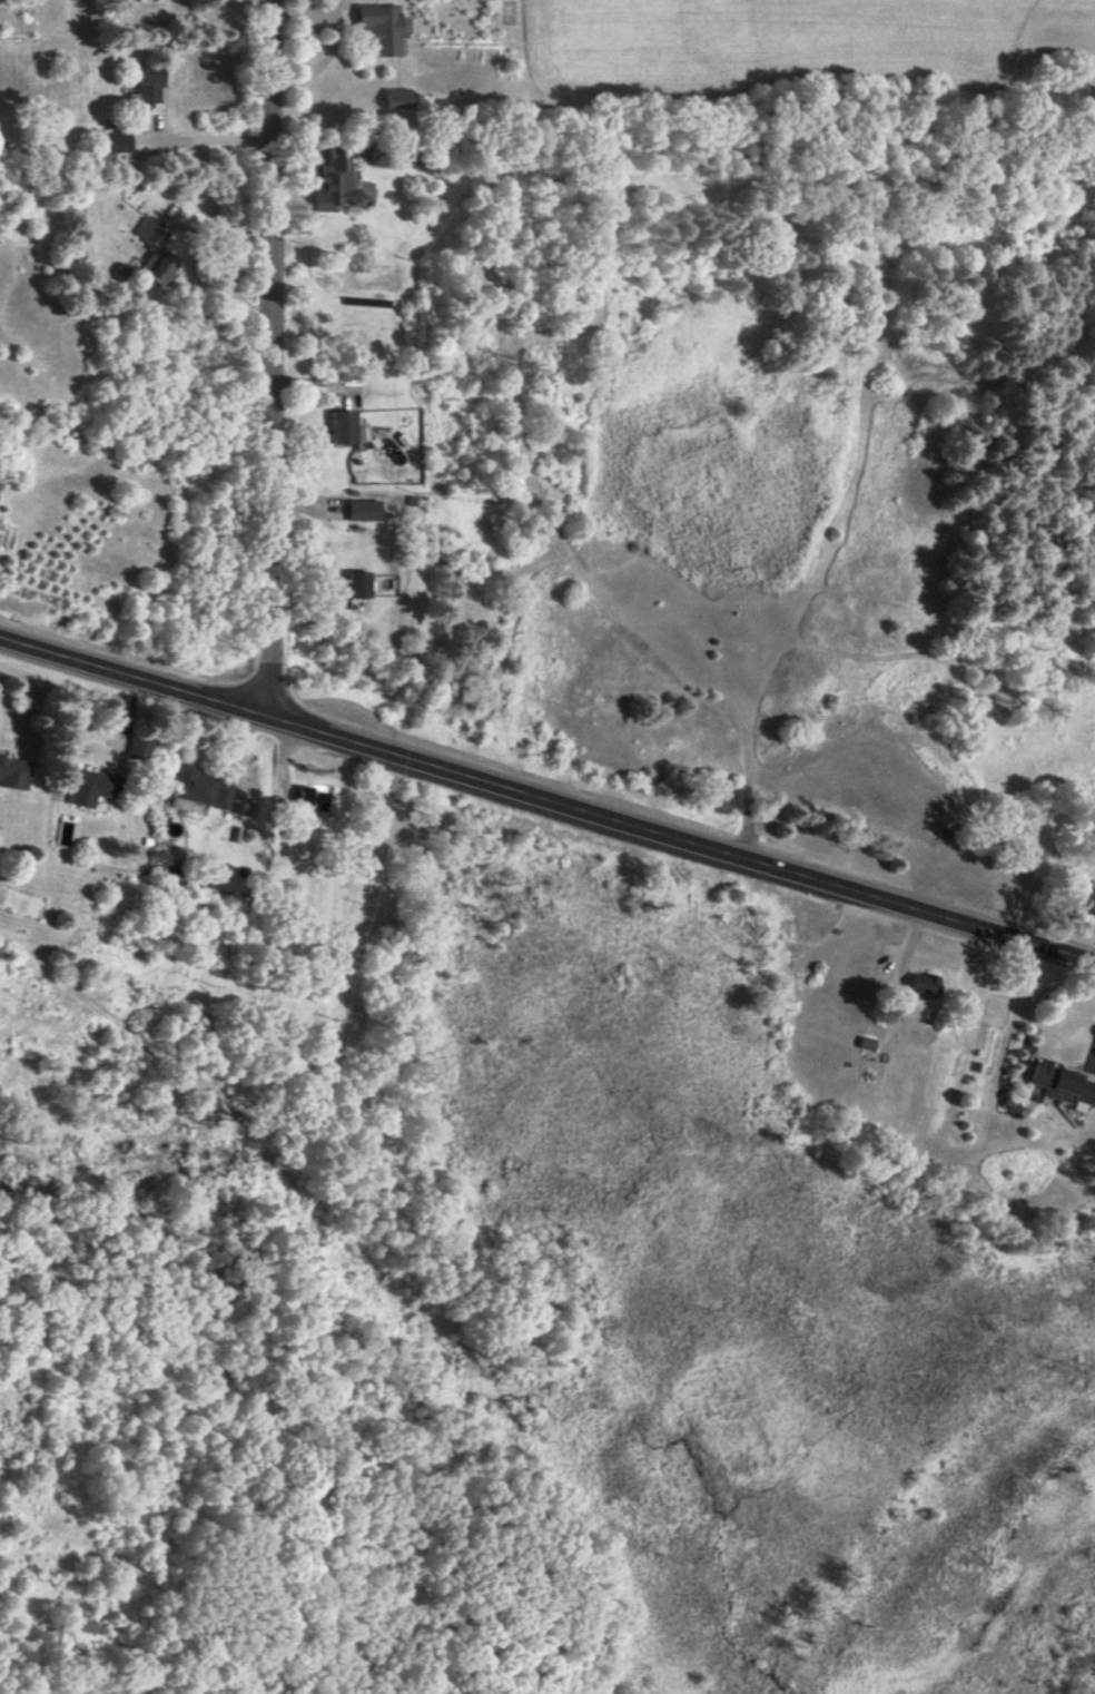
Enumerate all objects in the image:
building: (377, 28)
building: (148, 83)
building: (395, 98)
road: (209, 138)
building: (117, 141)
building: (389, 157)
building: (329, 176)
building: (152, 254)
road: (228, 267)
road: (274, 360)
building: (343, 429)
building: (363, 510)
building: (356, 584)
road: (137, 679)
building: (137, 748)
building: (12, 772)
building: (92, 787)
building: (199, 787)
building: (313, 798)
road: (684, 841)
building: (920, 984)
building: (1061, 1084)

